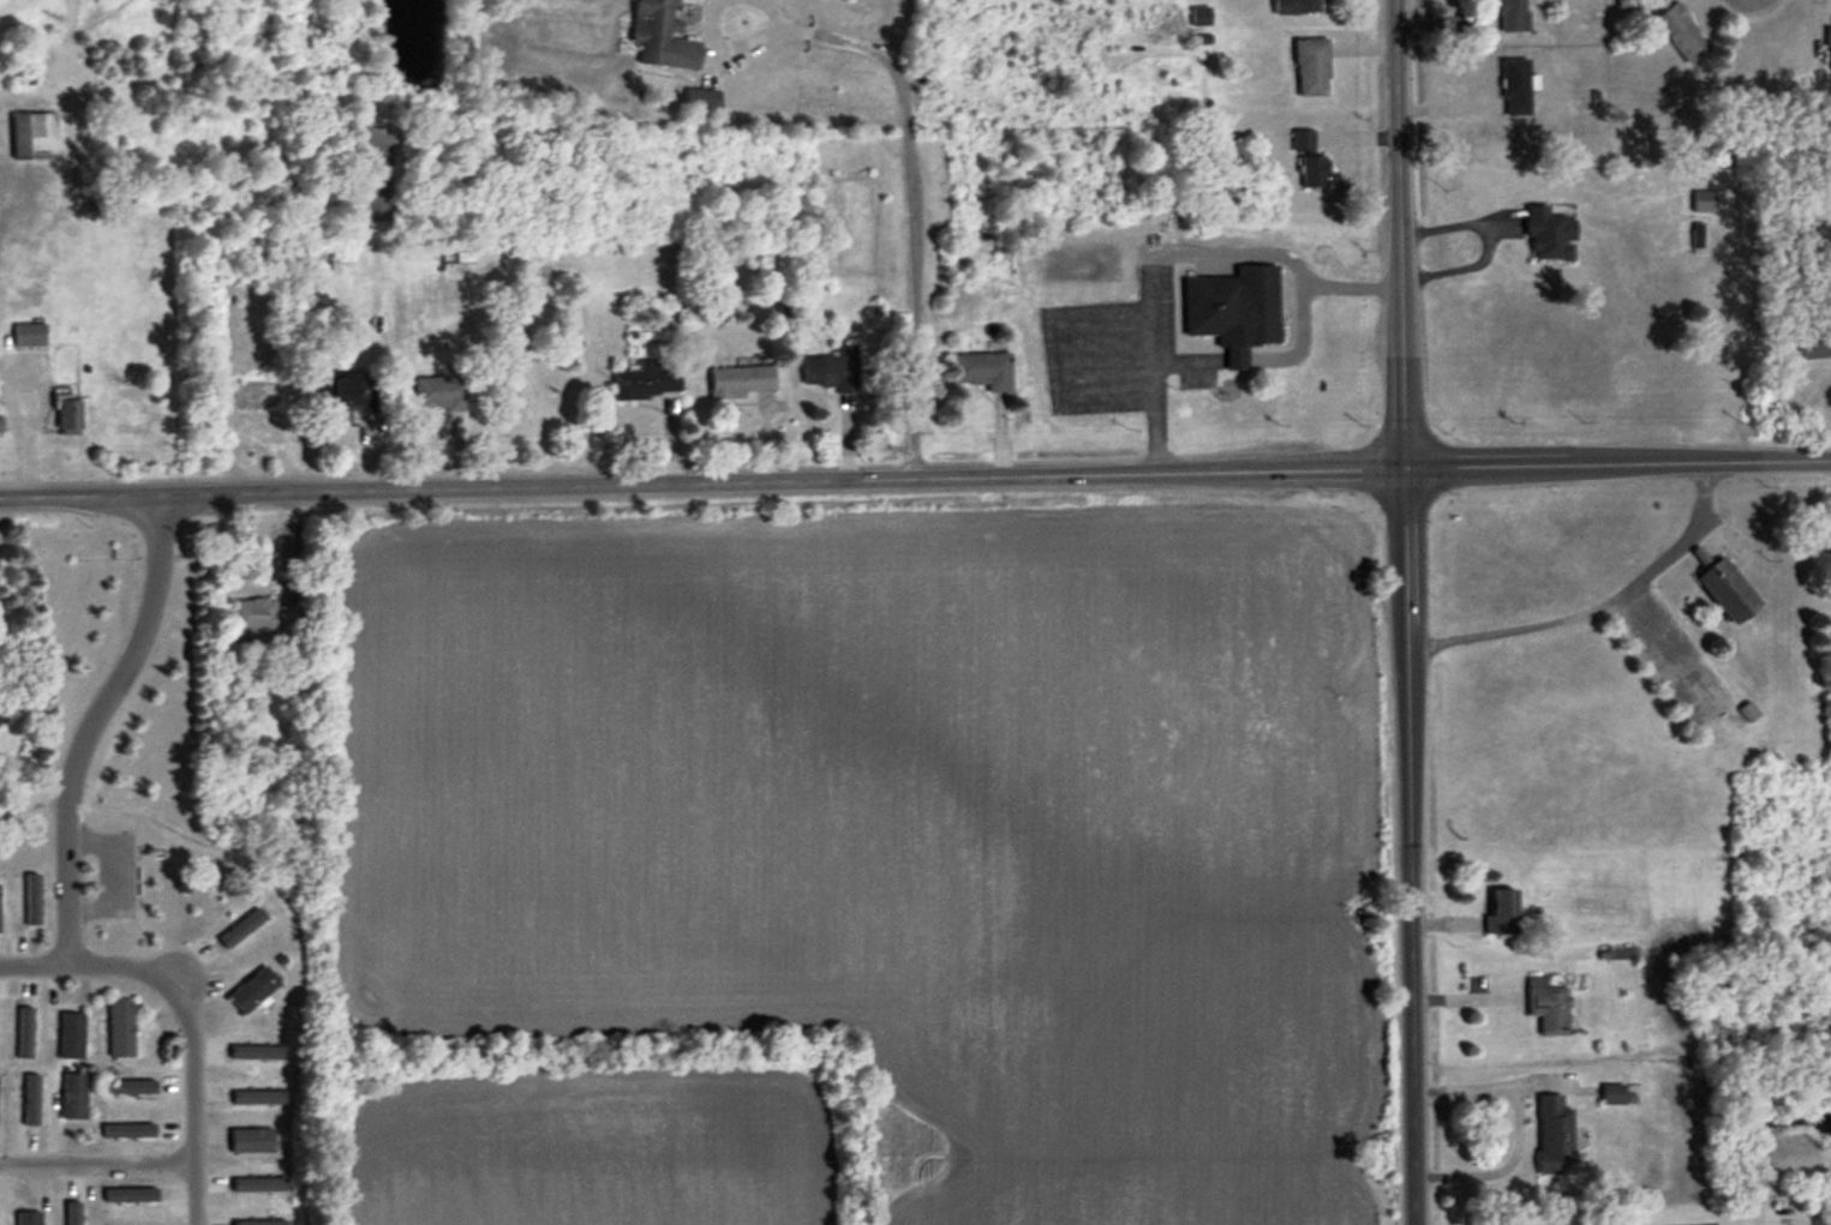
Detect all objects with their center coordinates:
building: (1630, 5)
building: (1298, 7)
road: (774, 12)
building: (1514, 16)
building: (1680, 34)
building: (662, 36)
building: (1829, 37)
road: (732, 46)
building: (1314, 67)
building: (1516, 88)
building: (702, 103)
building: (36, 137)
building: (1304, 140)
building: (1315, 172)
road: (912, 206)
building: (1550, 235)
road: (1489, 238)
road: (1180, 253)
building: (1234, 310)
building: (30, 337)
road: (1299, 342)
building: (1815, 348)
road: (1237, 360)
road: (1191, 361)
building: (833, 371)
building: (983, 371)
building: (648, 380)
building: (742, 382)
building: (441, 394)
building: (346, 395)
building: (70, 418)
building: (0, 426)
road: (915, 470)
building: (1728, 589)
road: (1597, 602)
road: (1404, 612)
building: (264, 618)
building: (1749, 711)
road: (92, 721)
building: (0, 909)
building: (1504, 912)
building: (238, 929)
road: (85, 963)
building: (255, 991)
building: (1549, 1007)
building: (121, 1029)
building: (72, 1035)
building: (74, 1097)
road: (193, 1099)
road: (1520, 1131)
building: (1556, 1136)
building: (252, 1140)
road: (97, 1161)
building: (29, 1217)
road: (1734, 1223)

